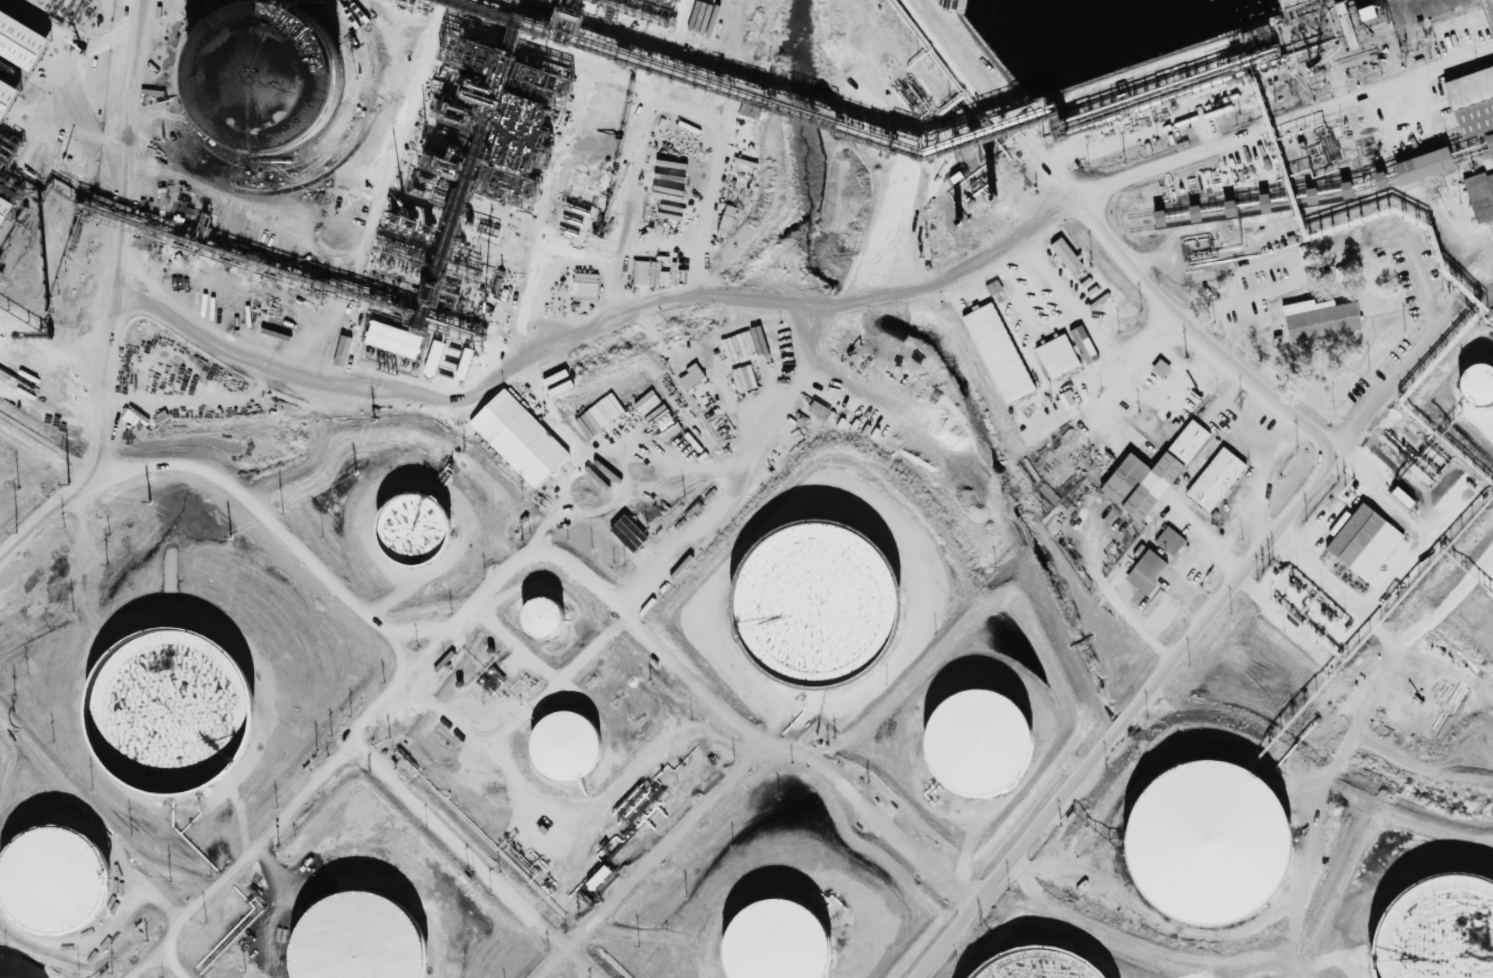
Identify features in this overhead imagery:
building: (19, 51)
building: (466, 52)
building: (261, 70)
road: (1396, 71)
building: (4, 101)
building: (1470, 102)
road: (1287, 136)
building: (1488, 142)
building: (1492, 160)
building: (1416, 167)
railway: (1313, 191)
building: (1478, 197)
railway: (1315, 203)
building: (1263, 204)
building: (1228, 209)
building: (4, 212)
building: (236, 217)
building: (726, 219)
building: (1158, 219)
road: (1111, 245)
building: (1065, 256)
building: (584, 287)
road: (1481, 292)
building: (1318, 319)
building: (997, 353)
building: (1056, 357)
building: (433, 358)
building: (388, 361)
building: (1159, 369)
building: (690, 377)
building: (1479, 389)
storage tank: (1479, 389)
building: (510, 430)
building: (1187, 443)
building: (590, 454)
storage tank: (590, 454)
building: (1122, 478)
building: (1216, 479)
building: (1401, 498)
building: (415, 533)
storage tank: (415, 533)
building: (627, 534)
building: (1351, 537)
building: (1170, 540)
building: (1145, 571)
building: (815, 604)
building: (544, 620)
storage tank: (544, 620)
road: (1206, 620)
road: (436, 647)
building: (174, 713)
storage tank: (174, 713)
building: (982, 745)
storage tank: (982, 745)
building: (568, 750)
storage tank: (568, 750)
road: (763, 757)
road: (242, 859)
building: (58, 883)
storage tank: (58, 883)
building: (1439, 931)
storage tank: (1439, 931)
building: (362, 942)
storage tank: (362, 942)
building: (780, 942)
storage tank: (780, 942)
building: (1039, 965)
storage tank: (1039, 965)
road: (564, 969)
road: (1158, 974)

